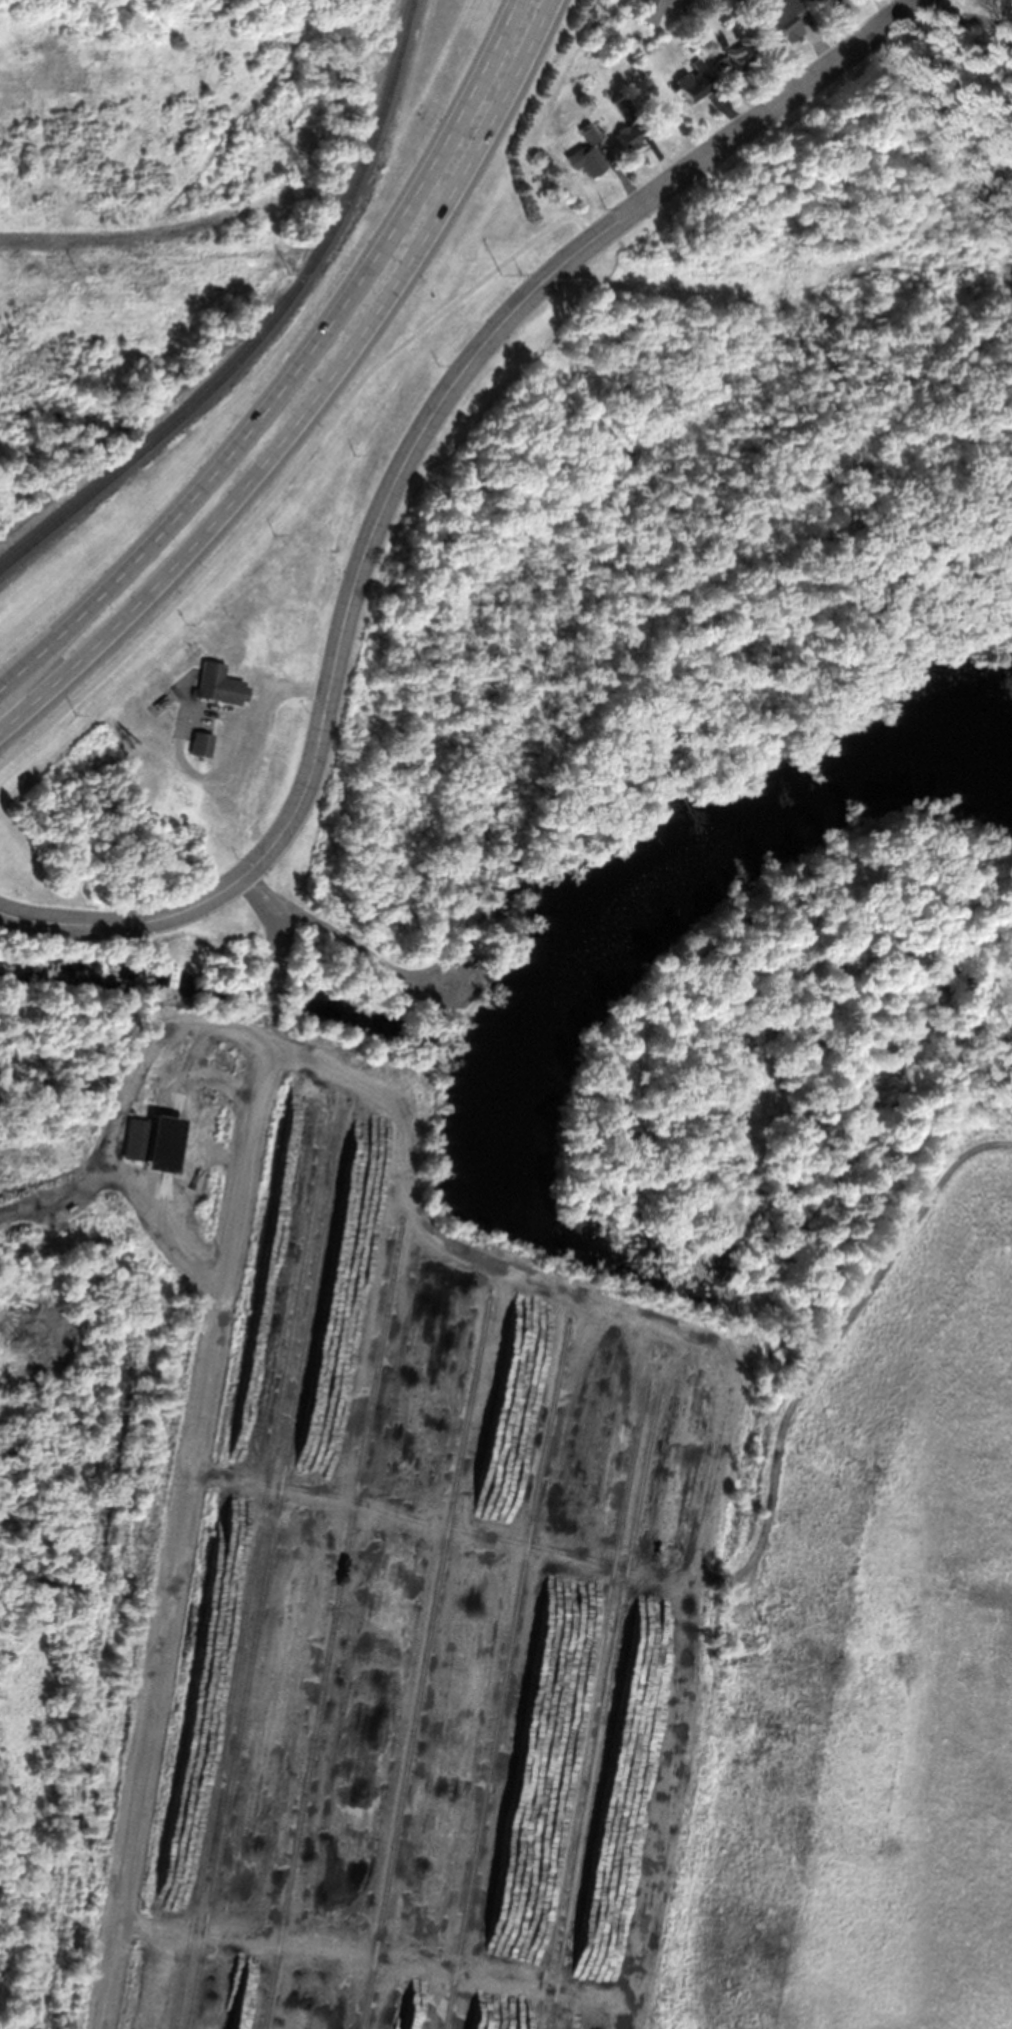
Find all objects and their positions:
building: (737, 1)
building: (835, 1)
building: (648, 9)
building: (782, 19)
building: (686, 30)
building: (634, 37)
building: (735, 57)
building: (693, 80)
building: (621, 104)
building: (588, 132)
building: (625, 135)
building: (584, 159)
railway: (266, 326)
road: (293, 370)
road: (314, 394)
road: (403, 467)
road: (290, 469)
building: (219, 685)
road: (182, 710)
road: (257, 721)
building: (200, 743)
road: (221, 793)
building: (171, 975)
building: (99, 1125)
building: (154, 1141)
road: (201, 1446)
railway: (263, 1564)
railway: (332, 1626)
railway: (424, 1660)
railway: (99, 1668)
railway: (509, 1675)
railway: (592, 1692)
railway: (607, 1693)

